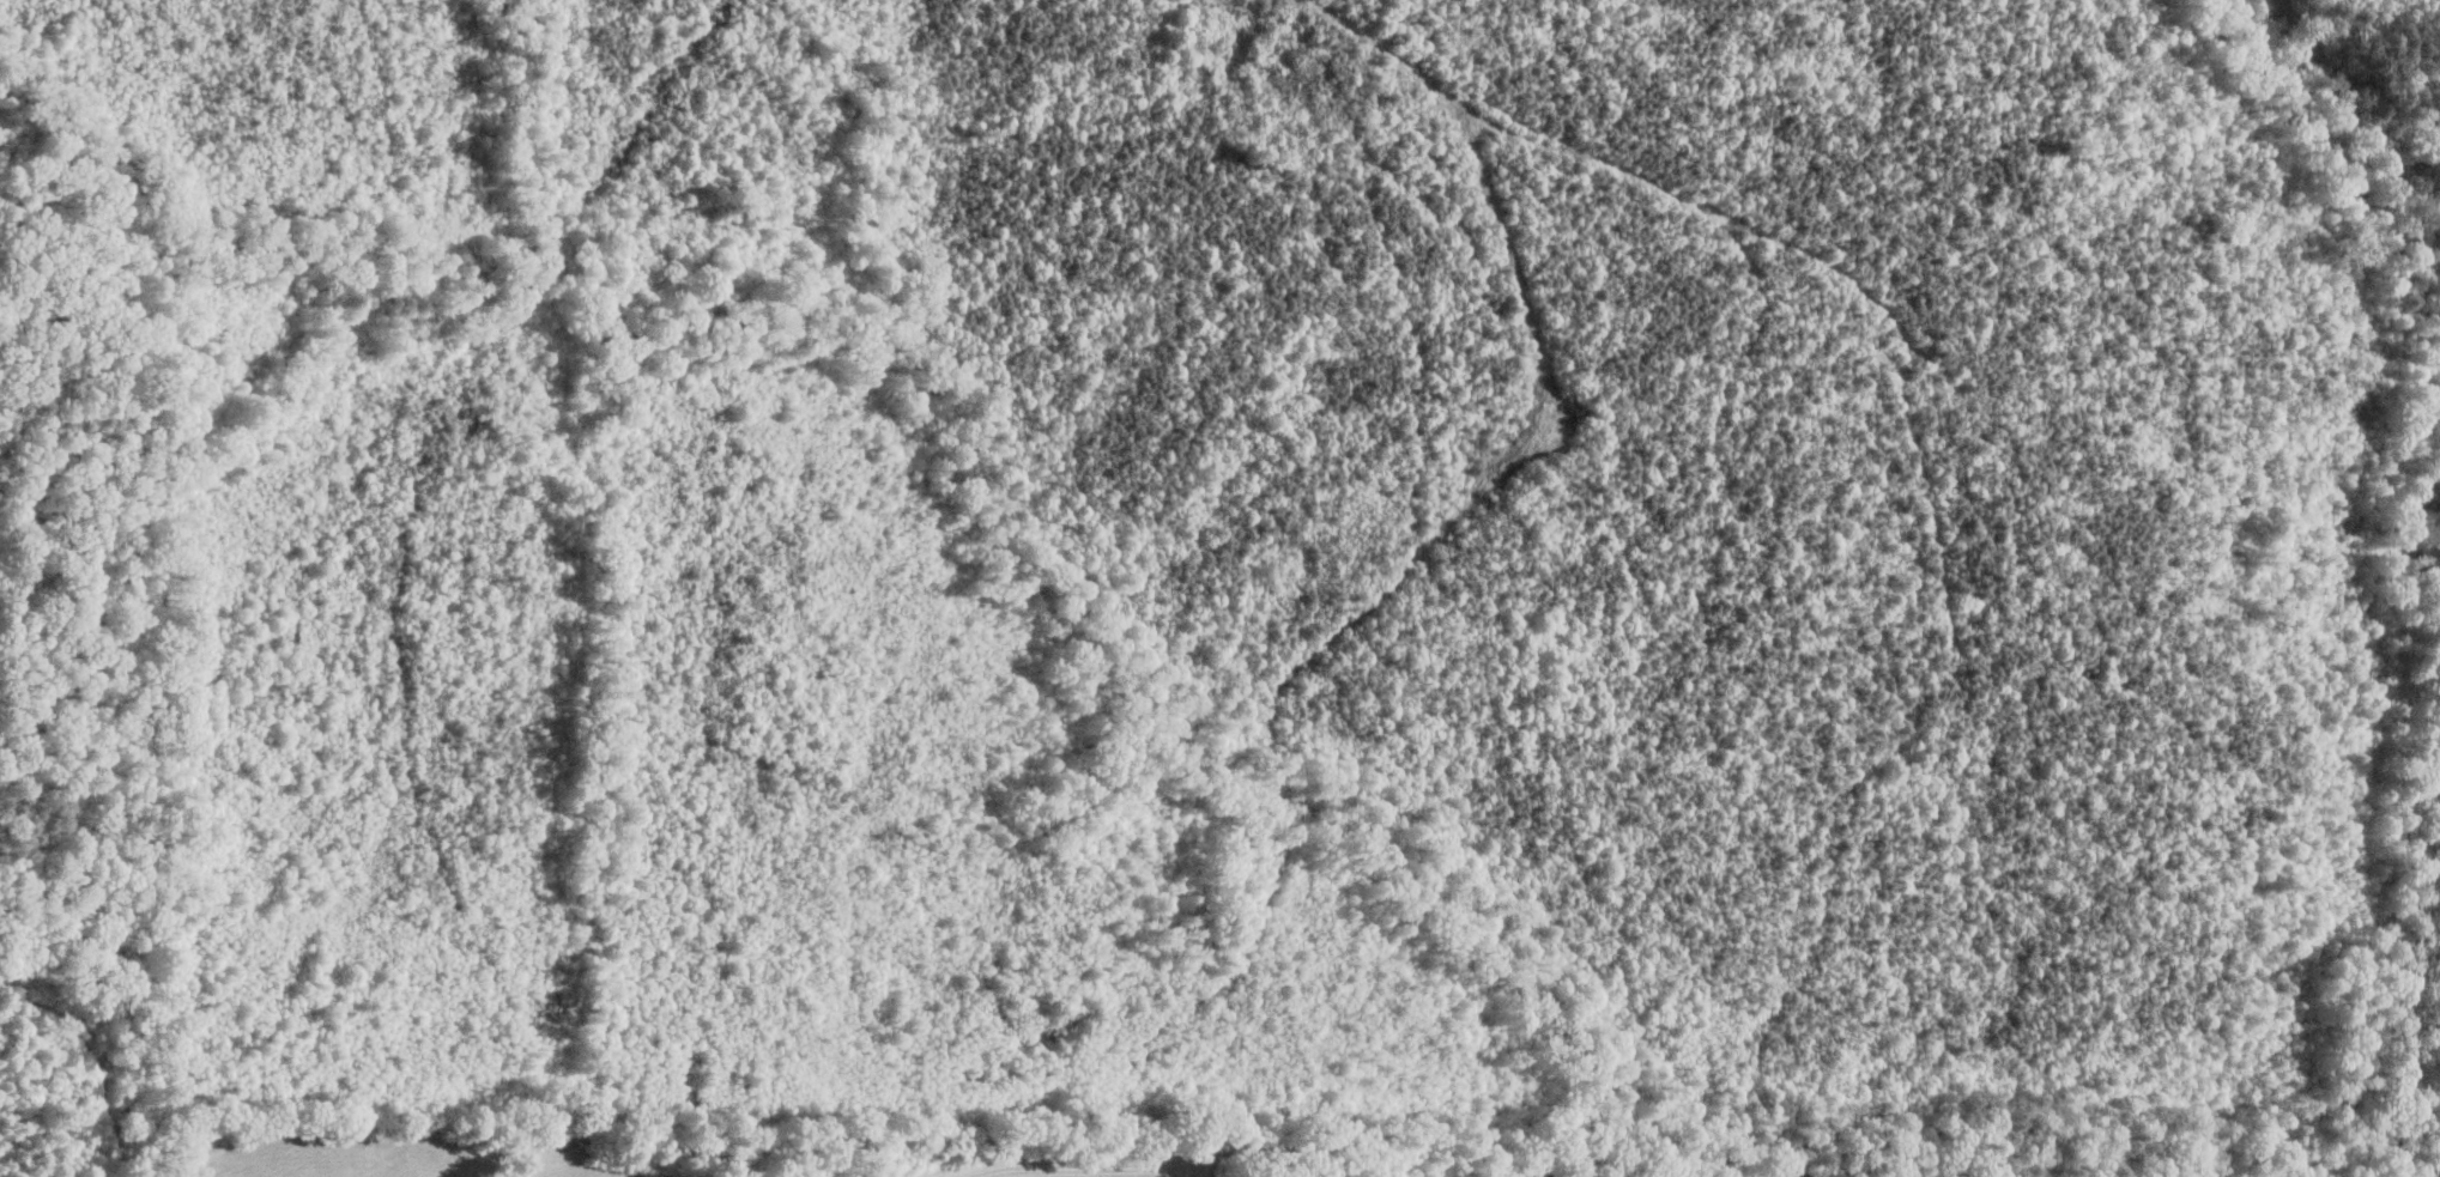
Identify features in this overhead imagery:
road: (617, 69)

